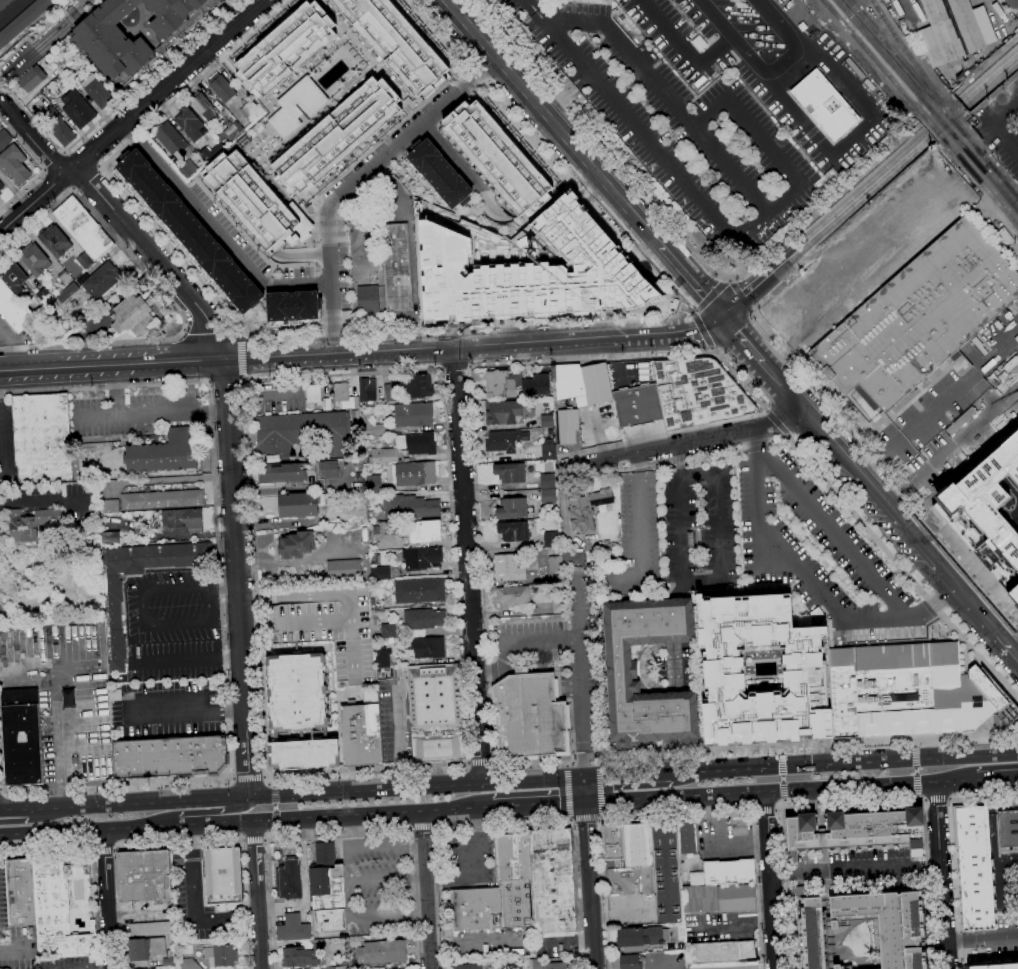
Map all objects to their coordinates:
road: (86, 1)
building: (4, 3)
building: (1013, 5)
road: (531, 6)
building: (23, 20)
building: (954, 30)
building: (99, 40)
building: (399, 41)
building: (65, 43)
building: (699, 43)
road: (684, 47)
building: (285, 48)
railway: (906, 51)
railway: (893, 52)
railway: (882, 55)
railway: (873, 58)
building: (59, 61)
road: (990, 61)
road: (766, 70)
building: (31, 79)
building: (700, 81)
road: (990, 81)
building: (221, 87)
building: (97, 91)
road: (996, 93)
road: (668, 96)
building: (38, 100)
building: (825, 105)
building: (297, 106)
building: (203, 107)
building: (78, 109)
road: (114, 109)
road: (937, 109)
railway: (949, 112)
building: (248, 113)
railway: (946, 114)
road: (132, 115)
road: (946, 120)
railway: (939, 121)
building: (189, 123)
road: (553, 123)
road: (992, 125)
railway: (932, 127)
parking lot: (1001, 127)
building: (60, 128)
building: (230, 132)
building: (339, 135)
road: (853, 135)
railway: (968, 137)
building: (4, 138)
railway: (967, 138)
building: (172, 139)
building: (210, 152)
building: (503, 154)
road: (452, 157)
railway: (984, 158)
building: (14, 164)
road: (39, 166)
building: (187, 169)
railway: (983, 172)
building: (439, 173)
road: (86, 178)
railway: (1003, 181)
road: (359, 182)
railway: (980, 182)
railway: (1003, 182)
building: (1, 185)
building: (0, 193)
building: (250, 197)
road: (850, 204)
road: (491, 213)
road: (709, 214)
building: (83, 227)
road: (217, 227)
road: (681, 228)
building: (187, 229)
building: (1006, 235)
building: (55, 241)
building: (697, 244)
building: (374, 250)
building: (34, 259)
building: (85, 260)
building: (577, 266)
building: (397, 267)
building: (65, 278)
building: (15, 280)
building: (101, 280)
road: (725, 280)
road: (731, 281)
road: (692, 282)
building: (68, 292)
road: (162, 292)
road: (746, 295)
building: (44, 296)
road: (740, 296)
road: (709, 298)
building: (368, 301)
road: (678, 304)
road: (684, 304)
building: (294, 308)
road: (687, 308)
building: (13, 309)
road: (752, 311)
building: (135, 313)
building: (345, 316)
traffic signals: (723, 317)
building: (919, 317)
road: (427, 326)
road: (688, 328)
road: (702, 329)
railway: (198, 334)
parking lot: (8, 335)
railway: (192, 337)
road: (589, 337)
road: (743, 340)
road: (491, 343)
road: (713, 350)
road: (240, 358)
building: (1011, 363)
road: (11, 369)
road: (455, 369)
building: (1002, 376)
road: (227, 381)
building: (496, 383)
building: (584, 384)
building: (418, 386)
road: (785, 388)
building: (366, 389)
road: (110, 392)
building: (390, 392)
building: (698, 393)
building: (313, 394)
building: (345, 397)
road: (977, 399)
road: (835, 403)
road: (227, 404)
building: (327, 404)
building: (638, 405)
building: (504, 413)
building: (414, 414)
road: (200, 416)
road: (129, 419)
building: (547, 421)
building: (568, 425)
building: (371, 427)
road: (738, 432)
building: (302, 433)
building: (41, 438)
building: (505, 440)
building: (421, 443)
road: (758, 445)
building: (163, 451)
building: (548, 452)
building: (385, 455)
road: (614, 458)
building: (296, 472)
building: (511, 473)
building: (416, 474)
road: (712, 475)
building: (359, 476)
building: (547, 481)
building: (373, 484)
road: (869, 485)
building: (548, 496)
road: (840, 496)
building: (990, 498)
road: (44, 499)
building: (162, 499)
building: (109, 505)
building: (300, 505)
building: (409, 507)
building: (512, 508)
building: (588, 509)
building: (181, 522)
building: (30, 523)
road: (638, 524)
building: (389, 528)
parking lot: (702, 530)
building: (423, 531)
building: (514, 531)
building: (110, 538)
building: (550, 539)
building: (295, 544)
parking lot: (822, 555)
building: (373, 557)
building: (572, 557)
building: (422, 559)
road: (482, 560)
road: (470, 565)
building: (555, 565)
building: (508, 568)
building: (344, 569)
building: (380, 573)
road: (222, 587)
road: (681, 590)
building: (419, 591)
building: (1014, 593)
building: (513, 596)
road: (965, 597)
road: (933, 603)
building: (558, 606)
parking lot: (171, 607)
road: (580, 610)
road: (221, 611)
building: (113, 616)
building: (423, 618)
road: (882, 618)
road: (675, 621)
road: (144, 625)
building: (330, 627)
parking garage: (330, 627)
building: (388, 631)
road: (521, 643)
road: (1008, 646)
building: (428, 647)
parking lot: (564, 647)
road: (187, 658)
building: (383, 658)
parking lot: (173, 659)
road: (672, 667)
road: (554, 668)
building: (621, 669)
road: (643, 669)
building: (805, 669)
road: (505, 670)
road: (521, 670)
building: (297, 692)
building: (912, 692)
parking lot: (171, 708)
road: (584, 710)
road: (192, 711)
building: (434, 712)
building: (528, 715)
road: (675, 715)
road: (59, 716)
building: (361, 732)
building: (274, 735)
building: (21, 737)
road: (915, 741)
road: (780, 751)
building: (304, 755)
road: (679, 756)
building: (170, 757)
road: (567, 762)
road: (593, 762)
road: (482, 765)
road: (844, 765)
road: (465, 766)
road: (916, 769)
railway: (796, 773)
railway: (796, 773)
road: (264, 774)
road: (247, 775)
road: (232, 776)
railway: (413, 777)
road: (626, 777)
road: (997, 777)
road: (782, 778)
railway: (412, 779)
traffic signals: (583, 780)
road: (957, 780)
road: (273, 782)
road: (417, 789)
road: (567, 790)
road: (583, 791)
road: (597, 791)
road: (760, 791)
road: (1, 793)
road: (917, 797)
road: (950, 800)
road: (855, 801)
road: (925, 801)
road: (937, 801)
road: (937, 801)
traffic signals: (584, 802)
road: (784, 802)
road: (140, 804)
road: (538, 804)
road: (275, 807)
road: (466, 808)
road: (14, 809)
road: (0, 810)
road: (0, 810)
road: (767, 810)
road: (202, 812)
road: (336, 815)
road: (681, 817)
road: (566, 818)
road: (600, 819)
road: (205, 822)
road: (507, 823)
road: (574, 823)
road: (586, 823)
road: (598, 823)
road: (140, 826)
road: (435, 827)
road: (422, 828)
building: (1008, 828)
road: (410, 829)
building: (857, 830)
road: (951, 831)
road: (51, 832)
road: (277, 832)
road: (342, 832)
road: (265, 838)
building: (687, 838)
road: (253, 839)
road: (243, 840)
road: (368, 843)
road: (183, 845)
building: (613, 845)
building: (637, 845)
road: (104, 851)
road: (255, 862)
road: (93, 863)
building: (974, 867)
building: (729, 872)
road: (857, 872)
building: (666, 873)
road: (943, 874)
building: (223, 875)
building: (143, 876)
road: (387, 878)
building: (290, 879)
road: (771, 879)
building: (552, 880)
building: (648, 880)
road: (589, 885)
road: (193, 886)
parking lot: (380, 889)
road: (426, 889)
building: (326, 890)
building: (499, 890)
building: (798, 891)
building: (20, 892)
road: (106, 899)
building: (719, 899)
building: (57, 912)
road: (242, 912)
road: (370, 918)
building: (889, 925)
building: (150, 929)
building: (293, 929)
building: (812, 934)
road: (259, 936)
building: (638, 936)
road: (982, 938)
building: (354, 941)
building: (671, 947)
building: (145, 948)
road: (957, 948)
building: (382, 952)
building: (302, 954)
building: (221, 955)
building: (721, 956)
building: (169, 958)
building: (627, 961)
building: (343, 963)
building: (189, 964)
building: (549, 965)
building: (468, 966)
building: (996, 966)
building: (37, 967)
building: (342, 967)
building: (363, 967)
building: (842, 967)
building: (148, 968)

